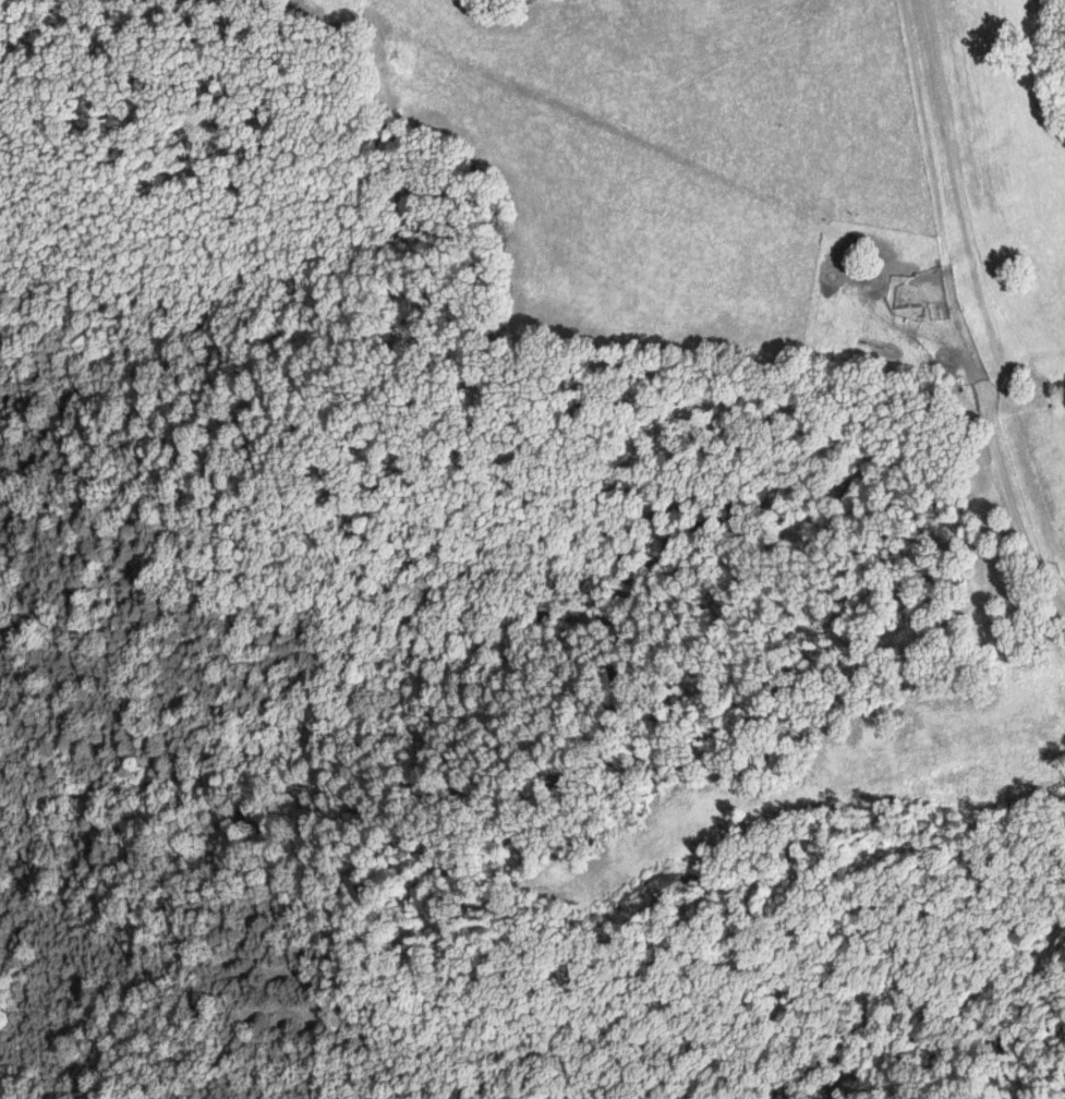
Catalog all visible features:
road: (954, 317)

